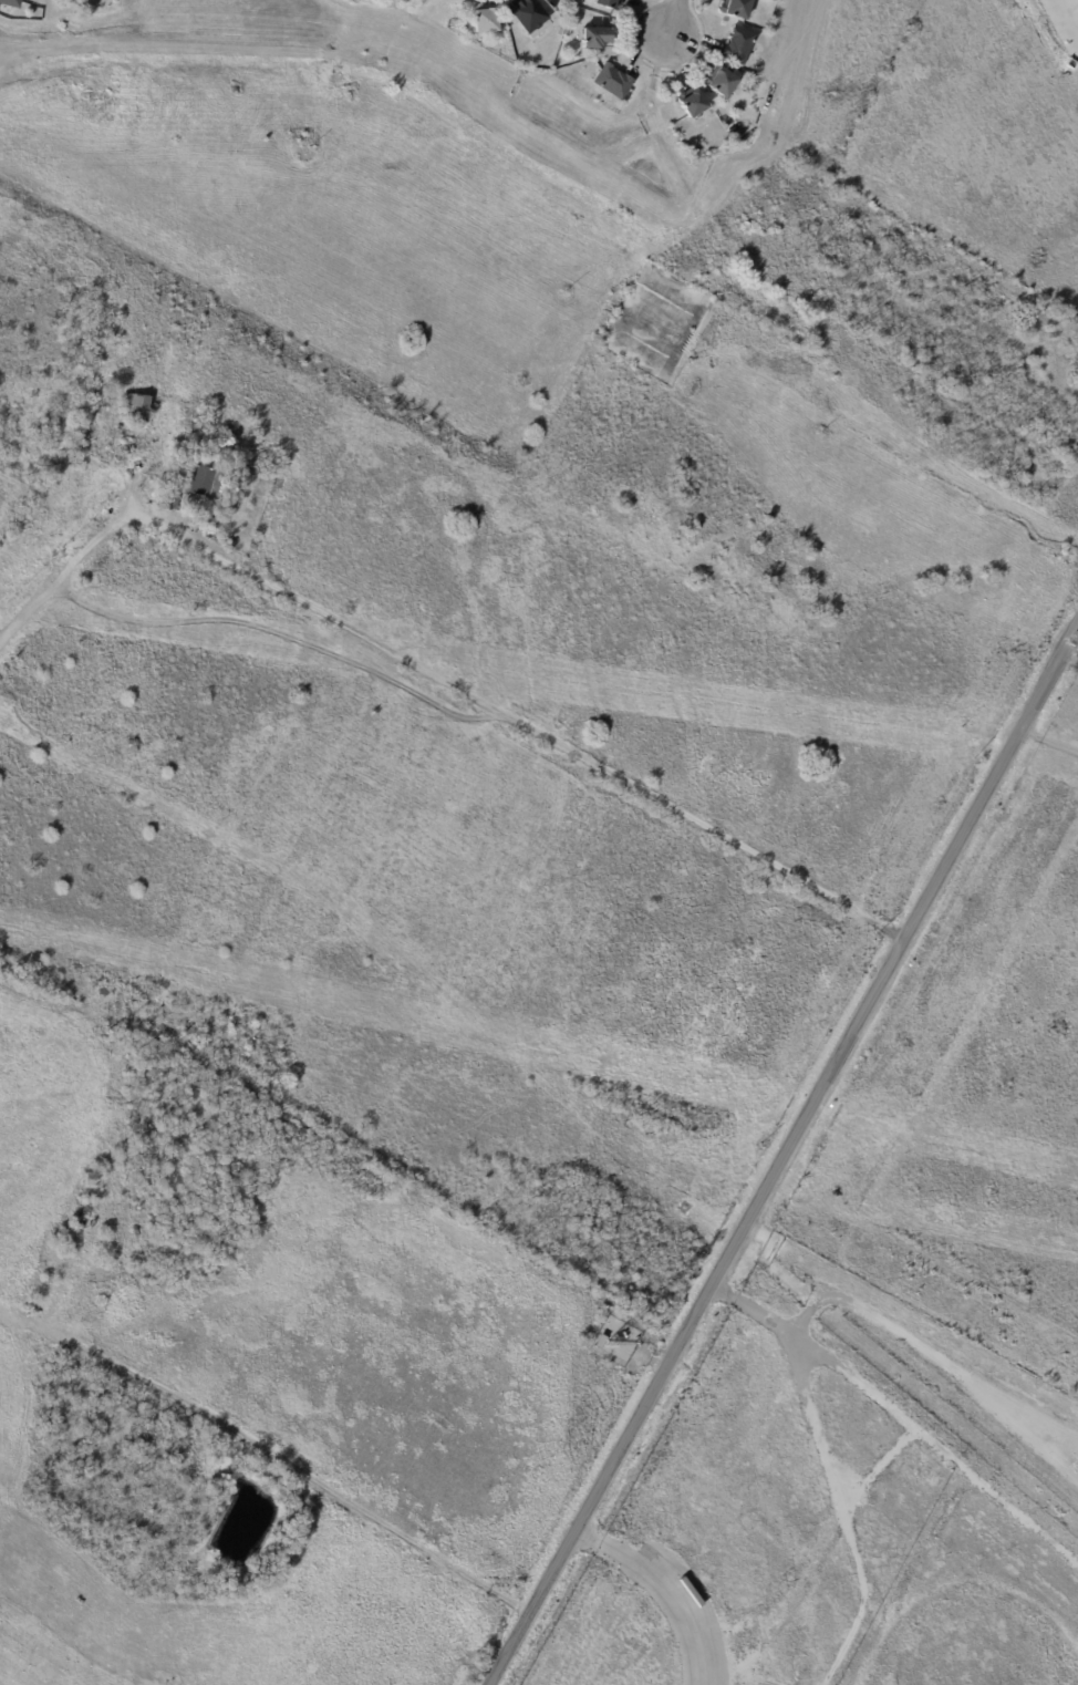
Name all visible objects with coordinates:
building: (83, 2)
building: (10, 3)
building: (581, 3)
building: (609, 6)
building: (739, 10)
building: (529, 17)
road: (672, 19)
building: (486, 21)
building: (598, 41)
building: (739, 46)
building: (613, 84)
building: (723, 84)
building: (695, 106)
building: (695, 153)
park: (335, 218)
building: (138, 407)
building: (250, 465)
building: (206, 480)
building: (170, 503)
road: (435, 678)
road: (782, 1152)
building: (48, 1279)
building: (83, 1301)
building: (601, 1342)
road: (675, 1582)

